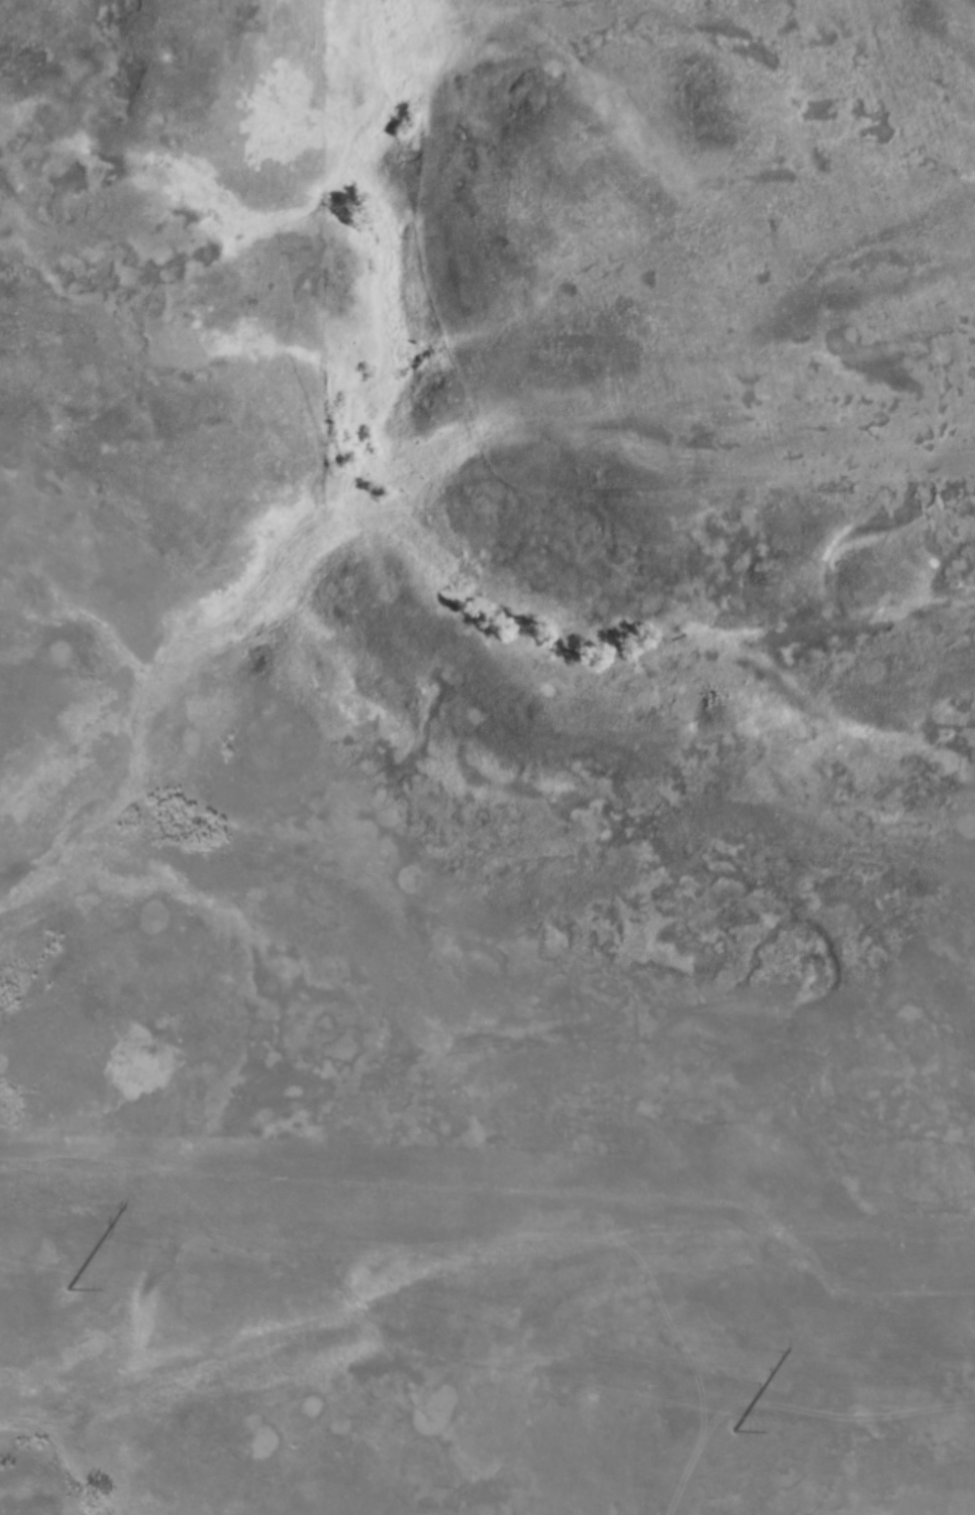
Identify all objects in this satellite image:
power tower: (64, 1289)
power tower: (727, 1430)

